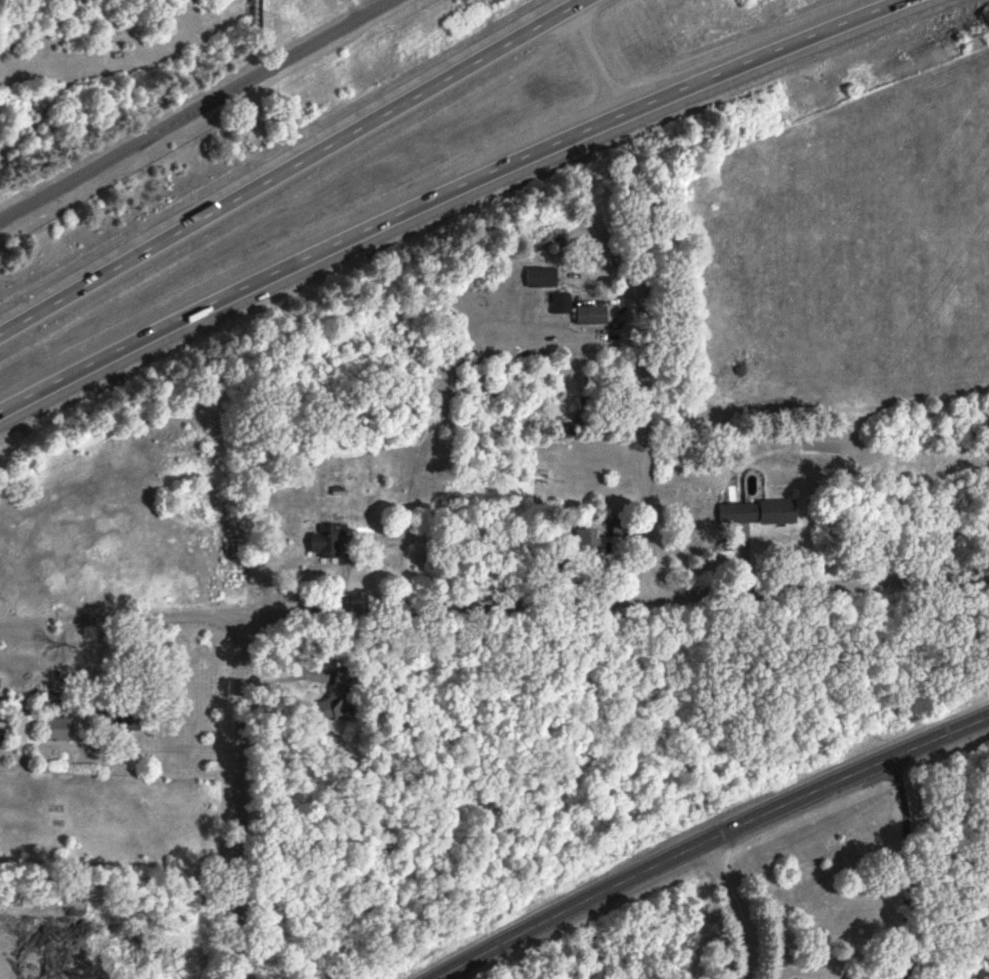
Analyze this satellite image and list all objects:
road: (588, 62)
road: (194, 111)
road: (287, 165)
road: (444, 194)
building: (543, 278)
building: (562, 304)
building: (594, 316)
road: (646, 417)
building: (760, 513)
building: (328, 540)
building: (589, 544)
road: (496, 605)
road: (290, 678)
building: (342, 696)
building: (129, 718)
building: (28, 730)
building: (59, 730)
road: (239, 797)
road: (708, 839)
road: (904, 861)
road: (734, 908)
road: (863, 971)
road: (890, 971)

